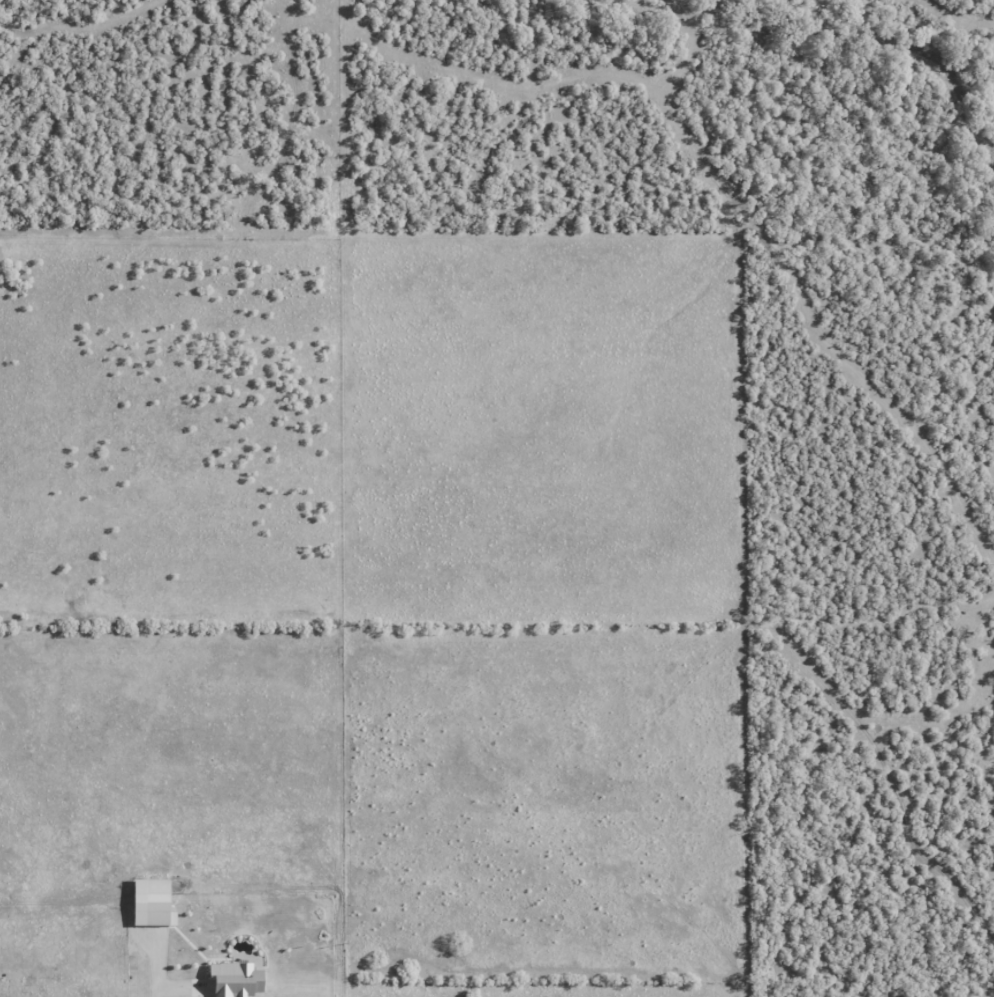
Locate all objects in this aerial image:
road: (155, 994)

